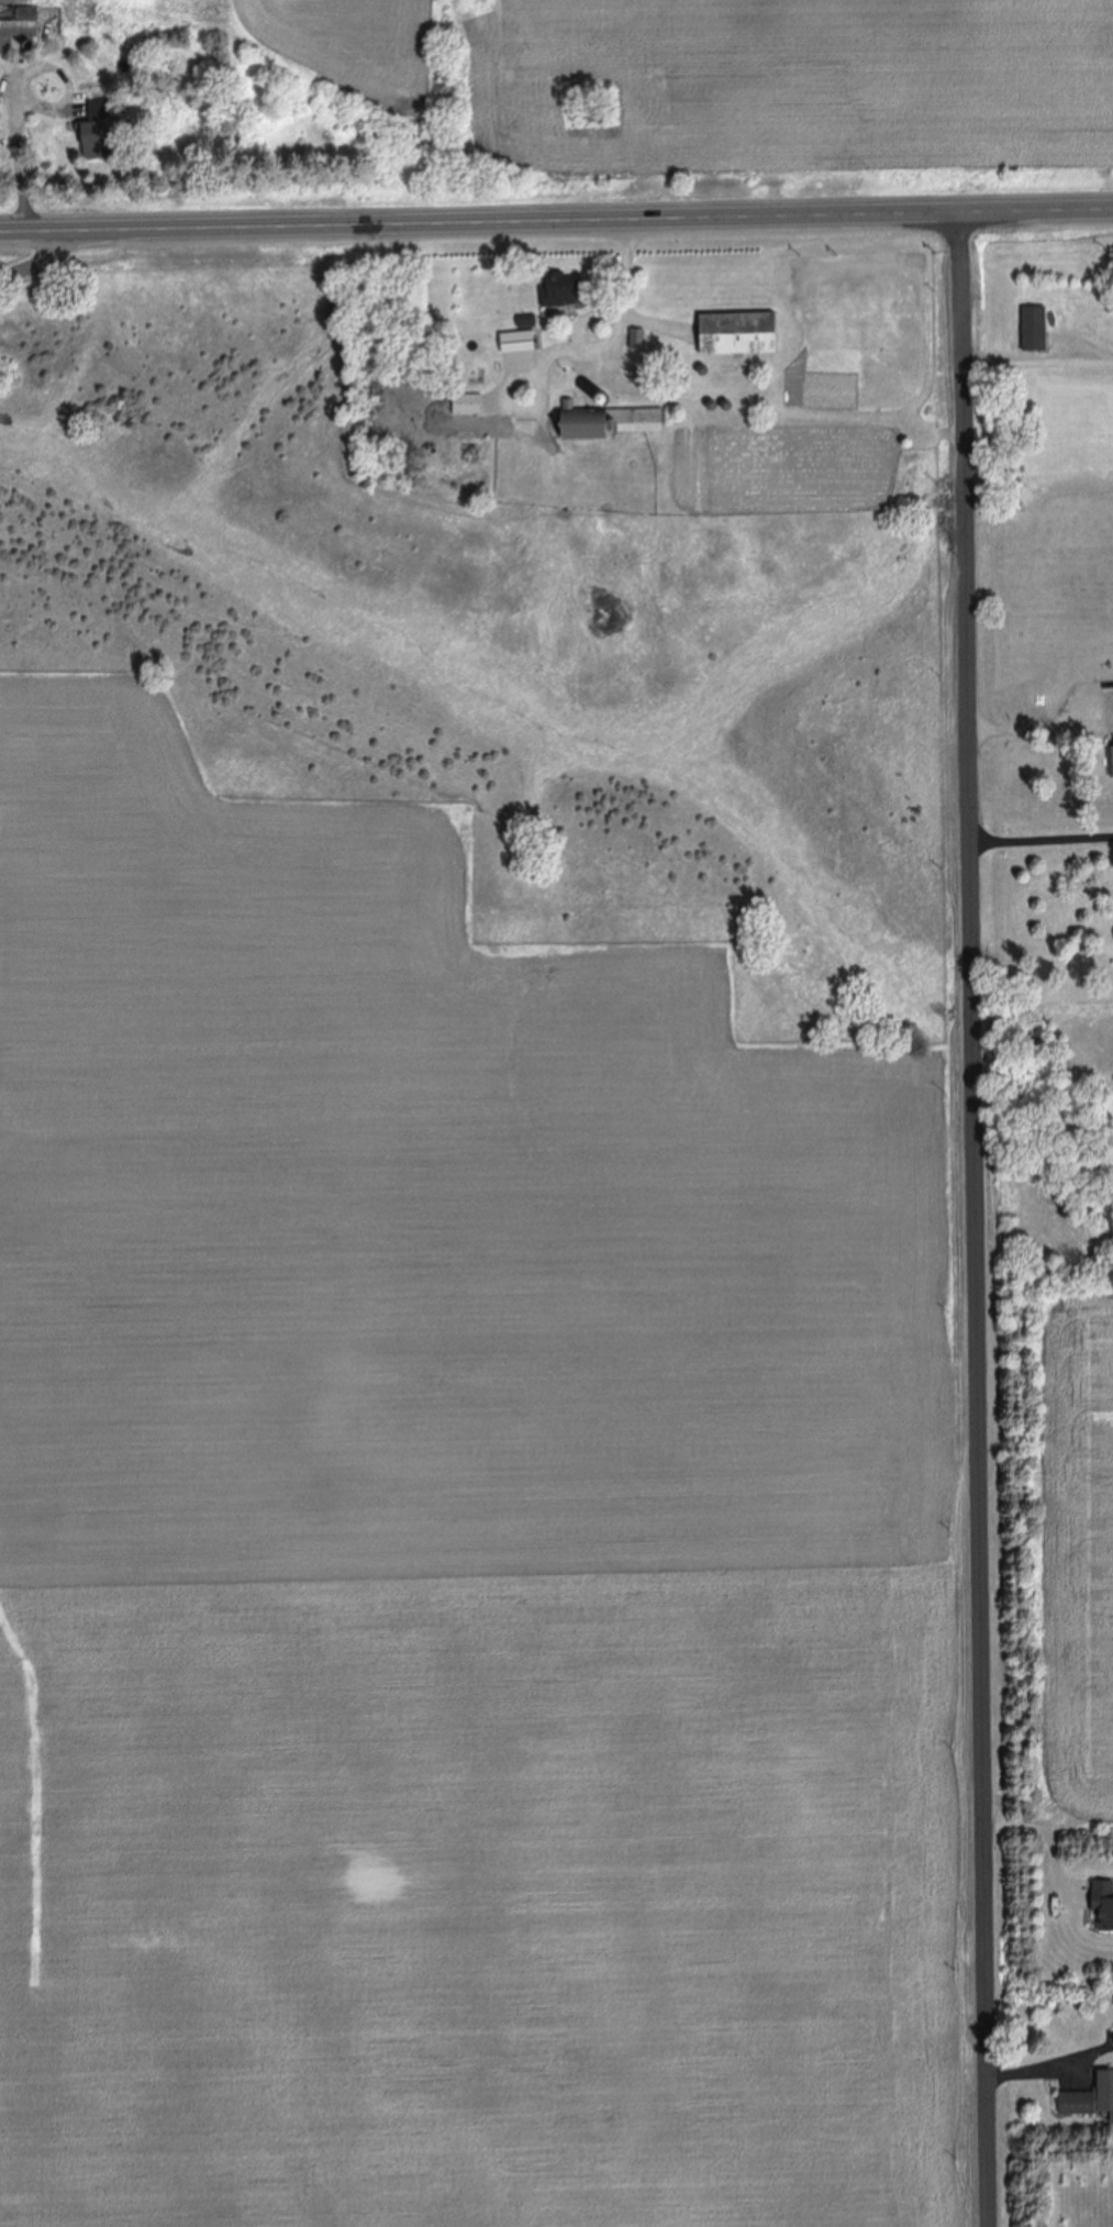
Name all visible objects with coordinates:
building: (20, 20)
road: (21, 89)
building: (101, 130)
road: (556, 223)
road: (35, 263)
building: (560, 296)
building: (1035, 330)
building: (739, 334)
building: (519, 342)
road: (1038, 361)
building: (468, 405)
building: (641, 422)
building: (1111, 761)
road: (1043, 827)
road: (978, 1220)
crop: (479, 1288)
crop: (1051, 1552)
building: (1103, 1904)
building: (1091, 2099)

